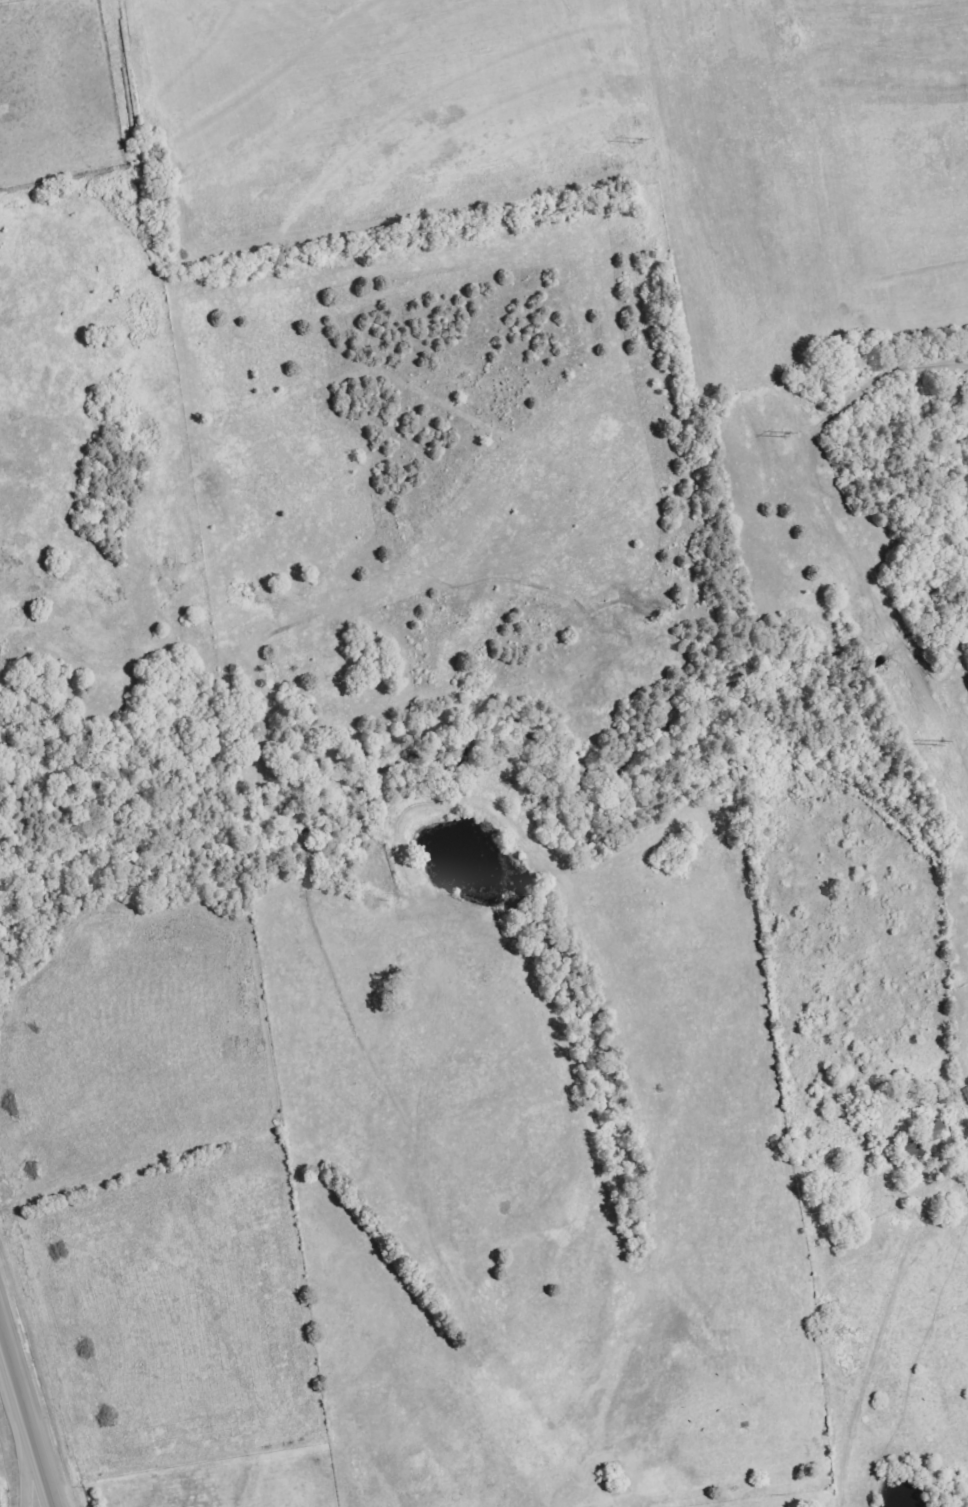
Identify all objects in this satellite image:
power tower: (636, 139)
power tower: (782, 434)
power tower: (937, 742)
building: (966, 1093)
building: (936, 1132)
road: (872, 1342)
road: (26, 1422)
road: (32, 1483)

